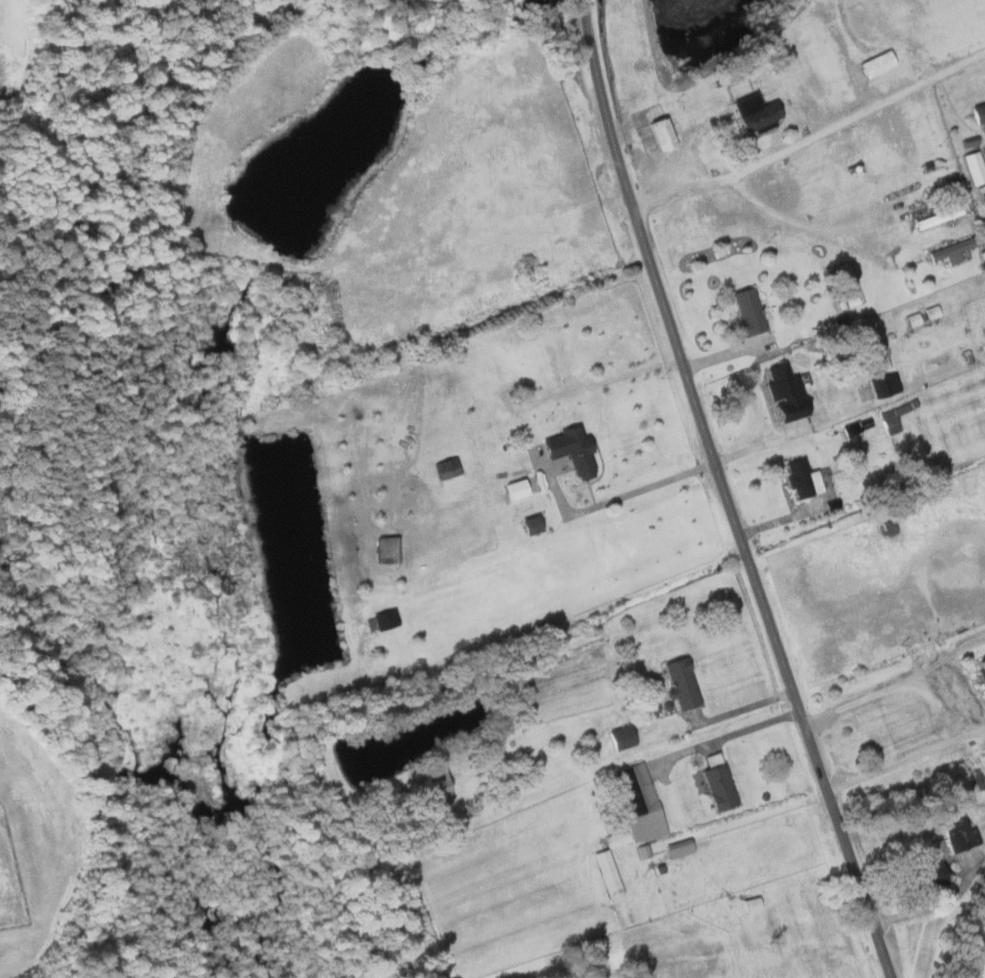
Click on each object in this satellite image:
building: (978, 112)
building: (754, 113)
road: (812, 141)
building: (977, 167)
road: (784, 218)
building: (949, 251)
building: (746, 310)
building: (932, 312)
building: (913, 319)
building: (883, 385)
building: (784, 393)
building: (895, 416)
road: (760, 443)
building: (569, 450)
building: (446, 467)
building: (801, 478)
road: (654, 485)
road: (723, 492)
building: (386, 550)
building: (384, 619)
building: (981, 670)
building: (680, 683)
road: (893, 684)
road: (751, 727)
building: (620, 737)
road: (904, 757)
building: (437, 785)
building: (717, 787)
building: (638, 802)
building: (958, 833)
building: (617, 838)
building: (941, 845)
building: (678, 848)
building: (608, 873)
building: (927, 874)
road: (933, 902)
building: (752, 904)

